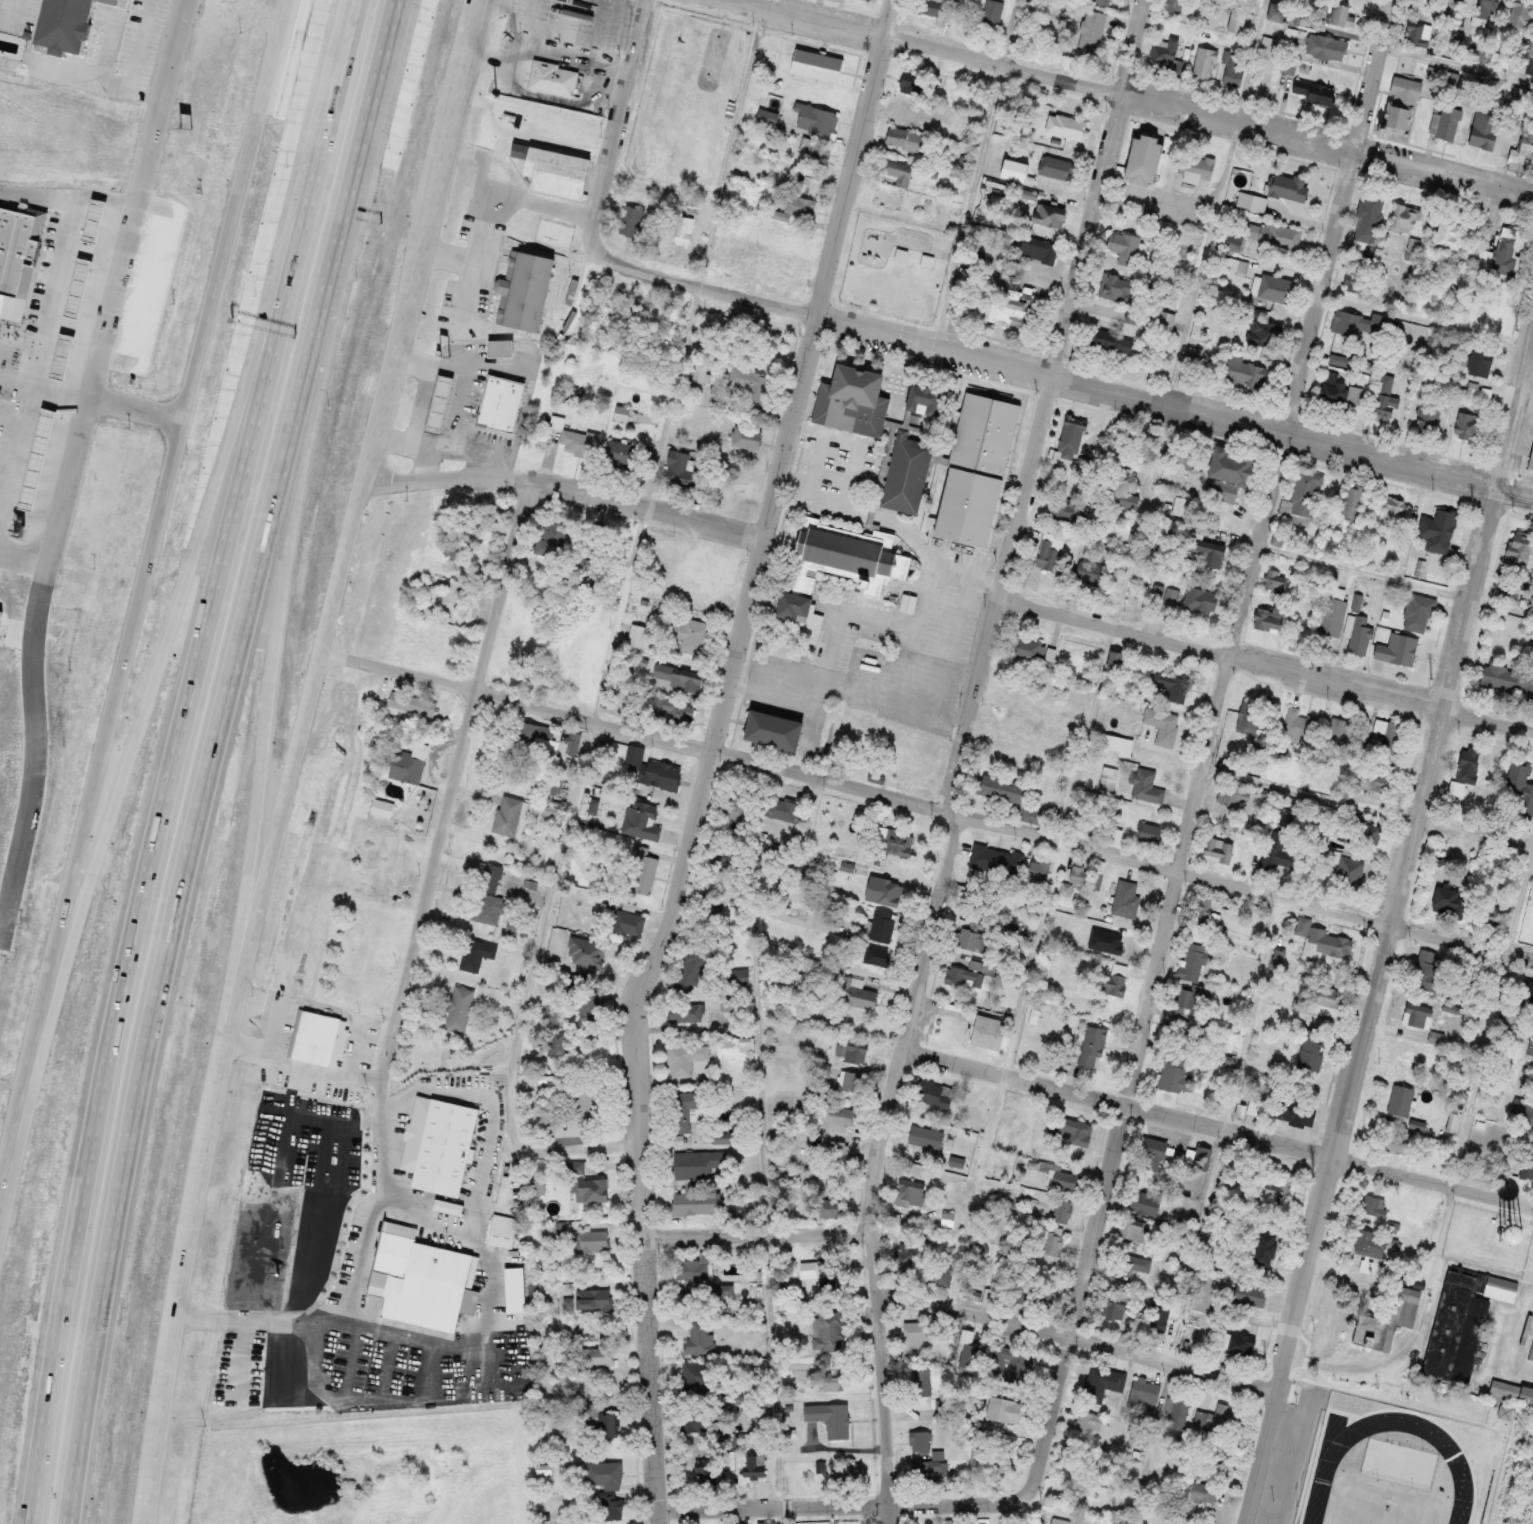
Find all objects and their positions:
building: (872, 0)
building: (1173, 5)
building: (930, 7)
building: (1273, 12)
building: (1515, 13)
building: (995, 14)
building: (1338, 16)
road: (26, 17)
road: (884, 17)
building: (1235, 21)
building: (81, 27)
building: (1416, 31)
building: (1092, 32)
road: (349, 33)
building: (1291, 34)
building: (1324, 47)
road: (1134, 48)
park: (713, 56)
building: (1168, 63)
building: (1203, 63)
road: (1457, 63)
building: (1529, 65)
building: (819, 66)
building: (1231, 68)
road: (465, 75)
road: (1373, 76)
building: (551, 78)
building: (914, 85)
road: (135, 87)
building: (1404, 88)
building: (1311, 90)
road: (1135, 98)
park: (681, 102)
building: (768, 117)
building: (1395, 117)
building: (818, 118)
building: (521, 121)
building: (1448, 123)
road: (614, 126)
building: (1068, 127)
building: (1479, 136)
building: (908, 139)
park: (655, 147)
building: (816, 150)
building: (1521, 155)
building: (1138, 158)
building: (1194, 167)
building: (1055, 168)
building: (555, 171)
road: (977, 174)
building: (900, 175)
building: (806, 185)
building: (1287, 188)
road: (66, 194)
building: (800, 208)
building: (1046, 217)
building: (1404, 217)
building: (103, 220)
gas station: (103, 220)
building: (629, 221)
building: (1367, 223)
building: (684, 231)
building: (1270, 233)
building: (1447, 233)
building: (1124, 247)
building: (1413, 247)
building: (1039, 250)
building: (24, 251)
building: (1500, 253)
park: (896, 265)
building: (1238, 265)
building: (789, 269)
building: (980, 276)
building: (1357, 278)
building: (1116, 286)
building: (88, 287)
gas station: (88, 287)
building: (526, 288)
building: (1277, 288)
road: (64, 290)
road: (109, 290)
building: (1006, 311)
building: (1168, 320)
road: (1426, 320)
building: (1351, 323)
power tower: (1520, 329)
building: (1114, 342)
building: (504, 349)
parking lot: (16, 352)
building: (72, 355)
gas station: (72, 355)
building: (1343, 360)
building: (1478, 363)
road: (486, 366)
building: (1244, 370)
building: (702, 377)
road: (1060, 379)
road: (434, 383)
road: (41, 385)
building: (754, 387)
building: (1341, 391)
building: (1477, 391)
building: (1386, 397)
building: (850, 402)
building: (443, 404)
gas station: (443, 404)
building: (503, 404)
road: (462, 406)
road: (137, 407)
building: (623, 414)
building: (1426, 422)
building: (1467, 425)
building: (748, 440)
building: (1068, 442)
building: (580, 443)
road: (434, 446)
building: (1182, 453)
building: (624, 454)
building: (1531, 458)
road: (495, 463)
road: (427, 464)
building: (977, 468)
building: (683, 469)
building: (905, 473)
building: (1224, 475)
road: (565, 490)
building: (1304, 494)
building: (1354, 502)
power tower: (1477, 504)
building: (1393, 513)
building: (1437, 529)
building: (599, 539)
building: (548, 541)
building: (1520, 545)
building: (1204, 548)
building: (1050, 550)
building: (849, 556)
building: (1091, 573)
road: (1366, 573)
building: (1192, 598)
road: (143, 601)
building: (789, 605)
building: (1418, 613)
building: (1332, 616)
building: (1269, 620)
building: (1360, 634)
building: (693, 636)
building: (638, 637)
road: (610, 639)
building: (1033, 649)
building: (1397, 649)
road: (1109, 654)
road: (164, 661)
road: (276, 664)
road: (1264, 664)
power tower: (1434, 677)
building: (681, 679)
building: (1506, 679)
building: (1008, 694)
building: (396, 700)
building: (674, 713)
building: (1249, 716)
building: (1300, 724)
building: (1163, 725)
building: (766, 729)
building: (1339, 729)
building: (1389, 735)
building: (1000, 736)
building: (525, 739)
building: (1117, 745)
road: (213, 757)
road: (298, 757)
road: (35, 759)
building: (1467, 763)
building: (405, 767)
building: (909, 771)
road: (702, 774)
building: (664, 775)
building: (1374, 779)
building: (1148, 785)
building: (999, 787)
road: (171, 791)
building: (1519, 794)
building: (1230, 796)
road: (449, 800)
building: (738, 803)
road: (954, 804)
road: (926, 806)
road: (1369, 807)
building: (781, 809)
building: (1284, 815)
building: (509, 816)
building: (1083, 818)
building: (642, 820)
road: (1192, 822)
power tower: (1397, 824)
building: (1364, 828)
building: (1150, 832)
building: (1114, 835)
building: (1219, 849)
building: (730, 859)
building: (997, 860)
building: (1040, 869)
building: (1351, 871)
building: (644, 874)
building: (1078, 875)
building: (888, 891)
building: (490, 898)
building: (1126, 898)
building: (708, 905)
building: (631, 925)
building: (883, 925)
building: (1195, 931)
building: (973, 940)
building: (1329, 942)
road: (1388, 942)
building: (876, 954)
building: (477, 955)
building: (692, 962)
building: (1193, 963)
building: (1430, 970)
building: (737, 976)
building: (965, 976)
building: (498, 977)
building: (1114, 979)
power tower: (1356, 990)
building: (860, 994)
building: (1528, 995)
building: (1183, 998)
building: (1326, 1001)
building: (733, 1002)
building: (589, 1007)
building: (460, 1010)
building: (683, 1012)
building: (1418, 1014)
building: (1036, 1016)
building: (1181, 1029)
building: (987, 1031)
building: (318, 1039)
building: (559, 1045)
building: (1092, 1047)
building: (1528, 1047)
building: (1313, 1049)
road: (356, 1052)
building: (852, 1053)
building: (1405, 1053)
building: (684, 1058)
building: (1174, 1067)
building: (852, 1080)
building: (1400, 1100)
building: (585, 1102)
building: (1528, 1104)
building: (685, 1109)
road: (1473, 1110)
building: (1295, 1111)
building: (840, 1115)
road: (1219, 1127)
building: (1074, 1132)
building: (927, 1137)
building: (1394, 1142)
road: (767, 1144)
building: (843, 1150)
building: (1155, 1152)
building: (696, 1162)
road: (286, 1164)
power tower: (1316, 1171)
building: (1062, 1179)
building: (587, 1181)
building: (1279, 1188)
building: (1142, 1202)
building: (694, 1203)
building: (450, 1207)
building: (1374, 1207)
road: (322, 1210)
building: (1063, 1210)
road: (1208, 1211)
water tower: (1513, 1229)
building: (1136, 1230)
building: (502, 1231)
road: (756, 1234)
building: (593, 1242)
building: (1054, 1242)
building: (1369, 1244)
building: (1265, 1247)
building: (1130, 1264)
building: (689, 1269)
building: (1402, 1277)
building: (430, 1280)
building: (1497, 1283)
building: (1047, 1291)
building: (1250, 1294)
building: (594, 1299)
building: (693, 1299)
building: (1112, 1311)
road: (361, 1313)
building: (1388, 1319)
building: (830, 1330)
building: (919, 1331)
building: (698, 1336)
road: (1078, 1338)
building: (1458, 1343)
building: (967, 1348)
building: (1026, 1351)
building: (596, 1357)
power tower: (1269, 1364)
building: (1531, 1365)
road: (1349, 1367)
building: (697, 1376)
building: (1100, 1384)
building: (753, 1387)
building: (922, 1388)
building: (1511, 1391)
building: (1145, 1392)
building: (1001, 1409)
building: (1178, 1413)
building: (830, 1417)
building: (700, 1420)
building: (1090, 1422)
building: (601, 1423)
building: (920, 1441)
building: (1000, 1462)
park: (1398, 1465)
building: (754, 1466)
building: (928, 1470)
track: (1459, 1472)
building: (710, 1473)
building: (851, 1474)
building: (601, 1475)
building: (1204, 1491)
road: (844, 1504)
building: (607, 1509)
building: (1059, 1520)
building: (766, 1522)
building: (1004, 1523)

